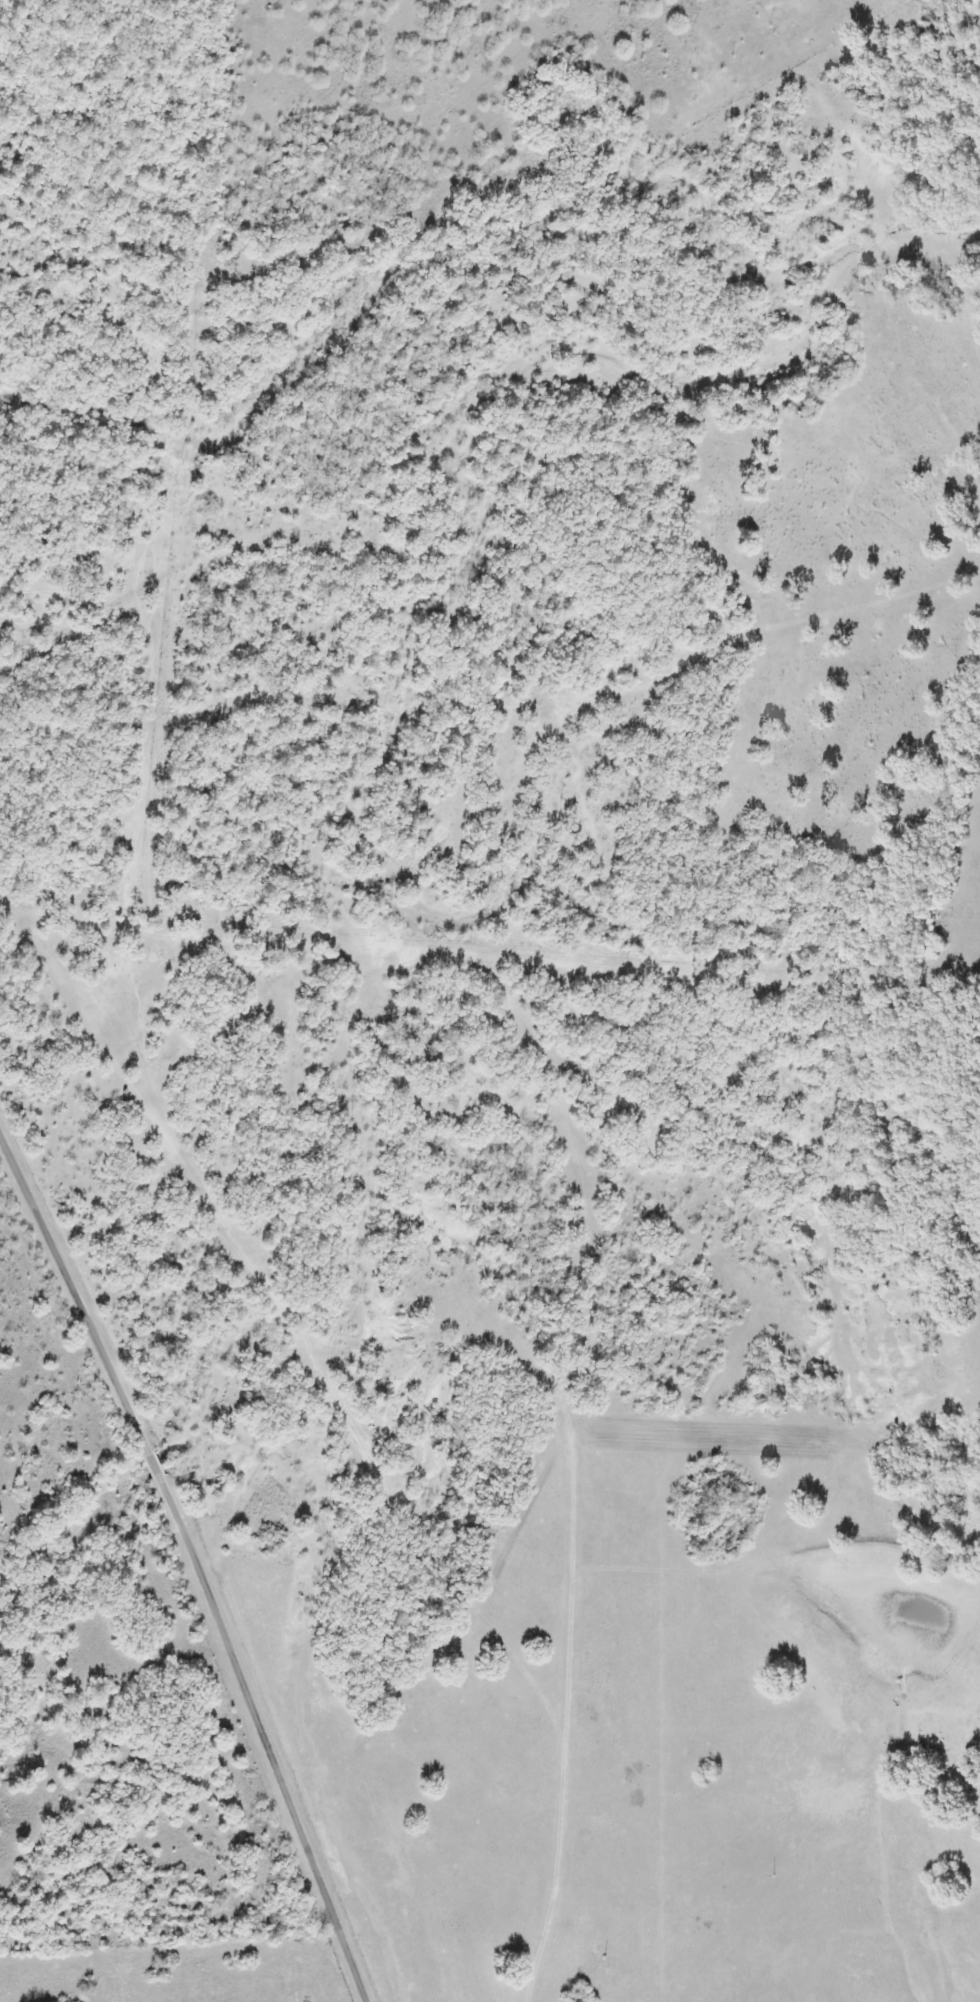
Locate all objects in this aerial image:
road: (200, 1553)

